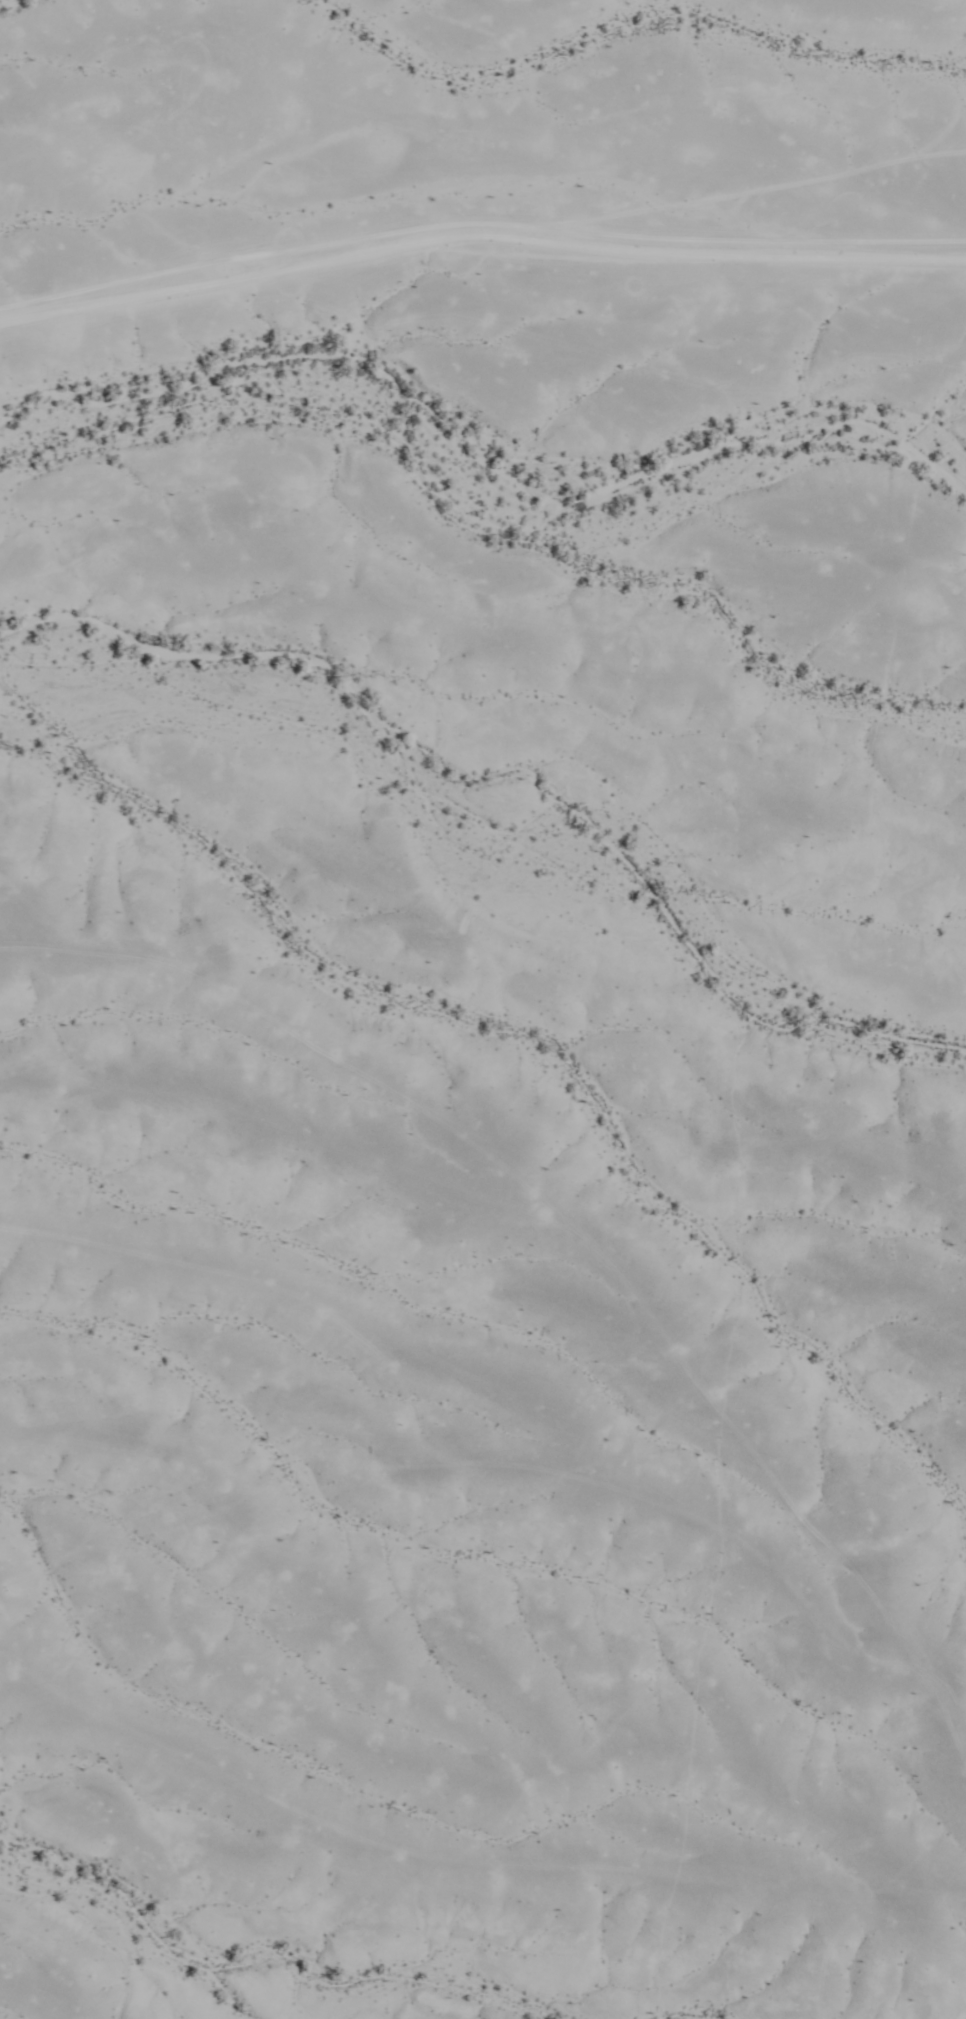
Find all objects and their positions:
road: (479, 228)

